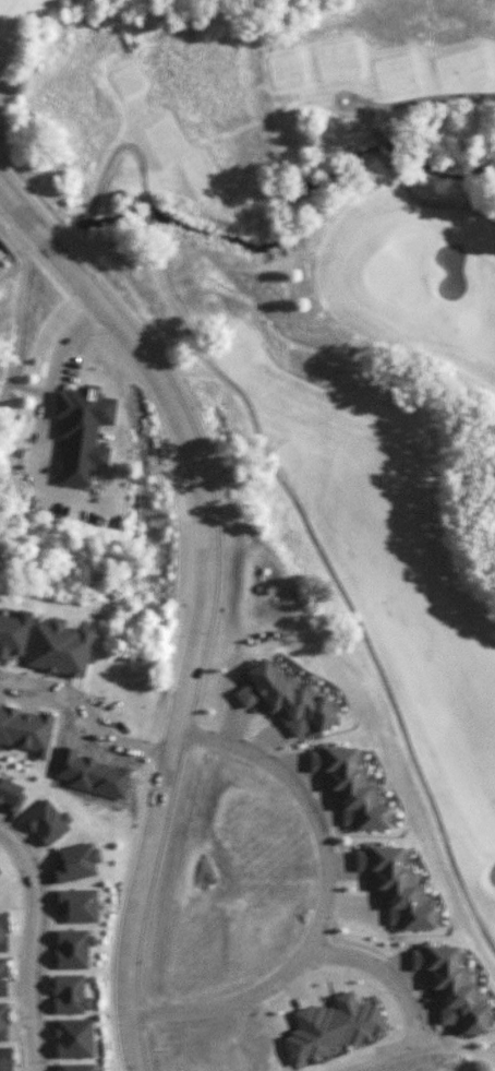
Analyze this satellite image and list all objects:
road: (340, 94)
road: (431, 99)
road: (370, 122)
road: (383, 147)
road: (114, 154)
road: (434, 205)
road: (147, 216)
park: (300, 305)
road: (17, 313)
building: (82, 431)
road: (335, 579)
road: (202, 598)
building: (12, 634)
building: (59, 647)
building: (286, 700)
road: (85, 716)
building: (25, 729)
building: (349, 787)
building: (11, 794)
building: (47, 821)
building: (76, 861)
building: (0, 873)
building: (395, 886)
road: (323, 899)
building: (79, 904)
building: (3, 931)
road: (33, 944)
building: (73, 948)
road: (382, 972)
building: (3, 976)
building: (451, 988)
building: (70, 993)
building: (3, 1021)
building: (331, 1027)
building: (73, 1037)
building: (4, 1058)
building: (75, 1067)

